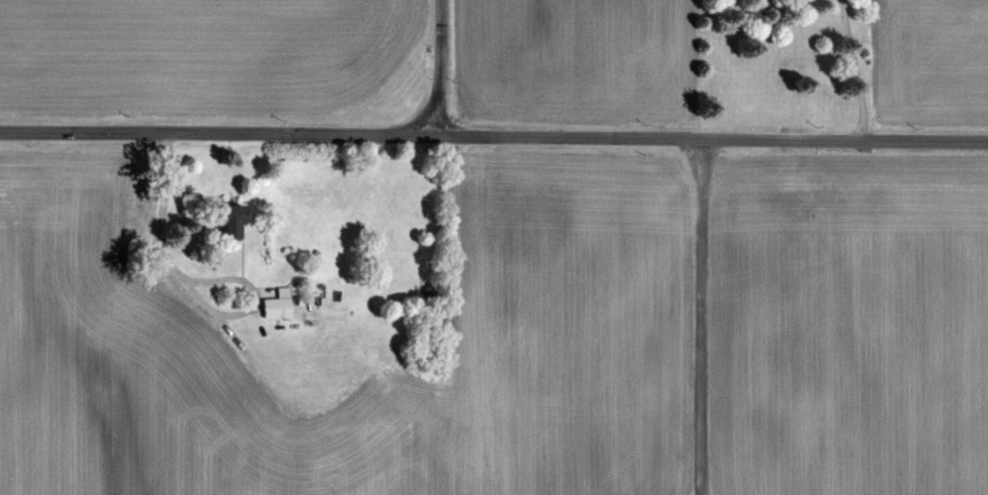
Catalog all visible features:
crop: (577, 50)
crop: (934, 53)
road: (440, 66)
road: (855, 69)
crop: (224, 78)
road: (494, 132)
building: (222, 219)
road: (188, 286)
building: (273, 304)
road: (699, 314)
crop: (41, 324)
crop: (712, 325)
crop: (163, 410)
building: (313, 460)

